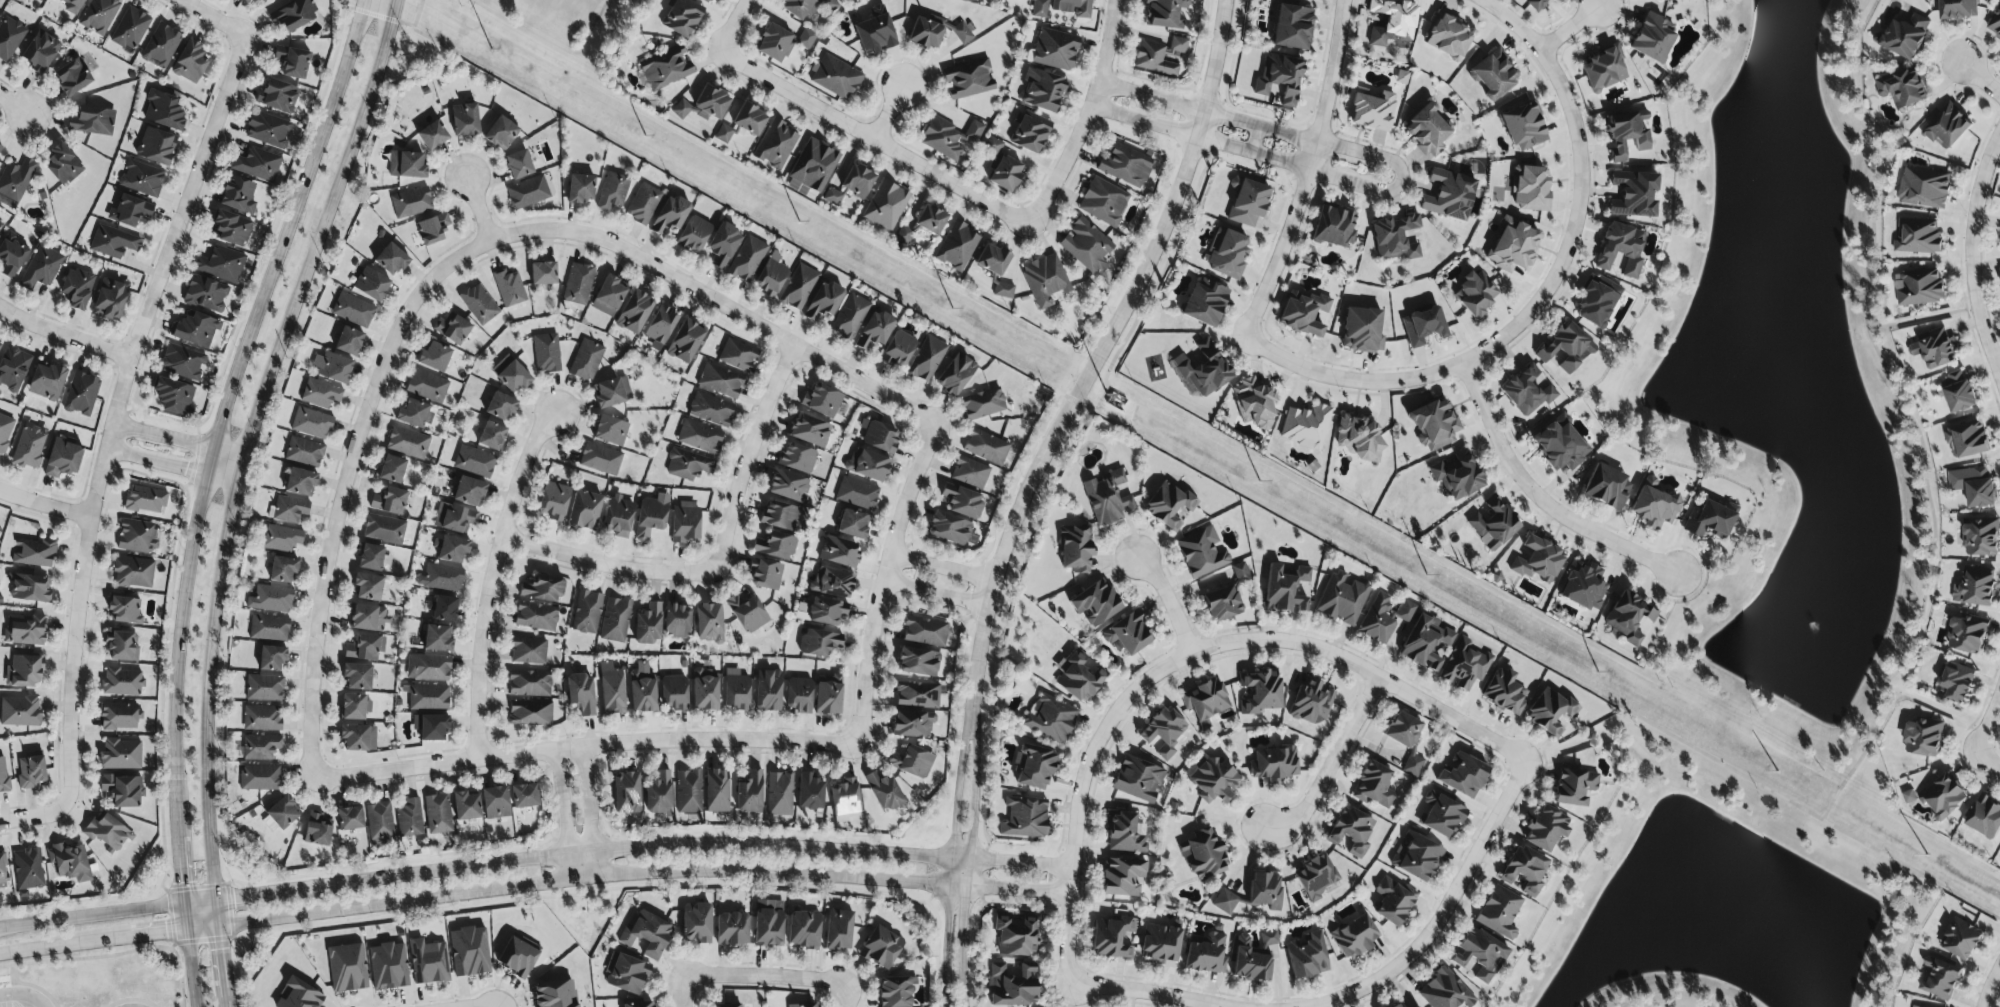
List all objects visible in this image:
building: (41, 0)
building: (246, 1)
building: (263, 1)
building: (707, 1)
building: (1535, 4)
building: (72, 6)
building: (796, 7)
building: (1039, 8)
building: (1073, 8)
building: (1958, 10)
building: (1164, 13)
building: (293, 14)
building: (99, 15)
road: (218, 17)
building: (681, 17)
building: (1392, 22)
building: (1995, 25)
building: (1292, 27)
road: (1572, 27)
building: (131, 28)
road: (728, 28)
building: (875, 32)
building: (925, 33)
building: (962, 33)
building: (1446, 36)
building: (1653, 37)
building: (1904, 37)
building: (9, 38)
building: (805, 39)
building: (774, 43)
building: (161, 47)
building: (1055, 49)
building: (39, 51)
building: (1160, 56)
building: (190, 62)
building: (292, 62)
power tower: (518, 64)
building: (665, 68)
building: (1603, 70)
building: (1493, 74)
road: (1978, 76)
building: (72, 77)
building: (835, 77)
building: (1401, 77)
building: (1280, 78)
building: (968, 79)
road: (1329, 84)
building: (1902, 89)
building: (1042, 90)
building: (278, 96)
road: (11, 105)
building: (704, 105)
road: (1178, 105)
road: (881, 110)
building: (163, 111)
building: (1372, 111)
building: (749, 119)
building: (464, 120)
building: (92, 121)
road: (1083, 124)
building: (1523, 127)
road: (1171, 128)
building: (1948, 128)
building: (1426, 129)
building: (267, 130)
building: (974, 131)
building: (500, 133)
building: (1030, 133)
building: (1628, 133)
building: (723, 134)
building: (432, 135)
road: (862, 138)
building: (944, 139)
road: (1255, 139)
building: (776, 145)
building: (156, 146)
building: (0, 147)
building: (518, 164)
building: (62, 165)
building: (257, 165)
building: (407, 165)
building: (1124, 166)
building: (812, 168)
building: (142, 178)
building: (15, 179)
road: (1401, 180)
building: (851, 185)
road: (1581, 185)
building: (580, 188)
building: (1529, 188)
building: (1924, 189)
building: (613, 190)
building: (528, 192)
building: (1633, 194)
building: (238, 195)
building: (1448, 195)
building: (1103, 202)
building: (1247, 202)
building: (411, 203)
building: (643, 204)
building: (885, 205)
road: (476, 208)
building: (130, 211)
building: (669, 215)
building: (930, 220)
building: (1, 225)
road: (287, 225)
building: (1334, 226)
building: (231, 228)
building: (432, 228)
power tower: (815, 230)
building: (693, 234)
building: (902, 234)
building: (1395, 237)
building: (1917, 237)
building: (113, 242)
building: (722, 245)
building: (957, 246)
building: (1085, 246)
building: (1512, 246)
building: (1621, 248)
road: (1277, 252)
building: (1226, 253)
building: (11, 255)
building: (390, 259)
building: (747, 259)
building: (992, 259)
road: (647, 261)
building: (221, 264)
building: (1617, 264)
building: (41, 268)
road: (1975, 268)
building: (543, 273)
building: (770, 276)
building: (1046, 280)
building: (371, 284)
building: (578, 284)
building: (798, 287)
building: (76, 288)
building: (509, 288)
building: (1919, 288)
building: (1004, 290)
building: (1475, 293)
building: (206, 294)
building: (608, 296)
building: (110, 299)
building: (824, 301)
building: (1596, 301)
building: (1205, 302)
building: (479, 304)
building: (353, 309)
building: (634, 312)
building: (1303, 313)
building: (849, 317)
building: (1423, 326)
building: (660, 327)
building: (452, 328)
building: (196, 329)
building: (875, 330)
building: (1362, 330)
road: (60, 335)
building: (349, 341)
building: (685, 341)
building: (0, 344)
building: (1567, 348)
building: (898, 349)
building: (1934, 349)
building: (546, 353)
building: (737, 356)
building: (434, 357)
building: (926, 359)
road: (1101, 359)
building: (586, 360)
building: (182, 362)
building: (333, 367)
building: (13, 369)
building: (1205, 370)
building: (511, 374)
building: (955, 375)
road: (1353, 380)
building: (46, 381)
building: (720, 381)
building: (427, 386)
building: (1526, 392)
building: (608, 393)
building: (1958, 393)
building: (81, 394)
building: (320, 394)
power tower: (1109, 395)
building: (173, 396)
building: (822, 400)
building: (983, 404)
building: (1254, 404)
building: (500, 407)
building: (710, 409)
road: (1906, 411)
road: (110, 412)
building: (415, 413)
building: (311, 423)
building: (1434, 425)
building: (1305, 426)
building: (5, 431)
building: (610, 431)
building: (810, 431)
road: (159, 436)
building: (491, 436)
building: (699, 437)
building: (880, 437)
building: (1359, 438)
building: (1967, 440)
building: (408, 442)
building: (30, 446)
building: (1559, 446)
building: (985, 447)
road: (1169, 450)
building: (304, 451)
road: (745, 457)
building: (63, 458)
road: (225, 458)
building: (797, 458)
building: (600, 459)
road: (206, 461)
building: (474, 461)
road: (152, 462)
building: (687, 465)
building: (867, 465)
building: (391, 469)
road: (221, 470)
building: (970, 472)
building: (1458, 476)
building: (300, 482)
road: (346, 486)
building: (789, 486)
building: (1607, 487)
building: (1974, 487)
road: (235, 492)
building: (469, 492)
building: (857, 493)
road: (1544, 499)
building: (145, 500)
building: (389, 501)
building: (553, 501)
building: (962, 501)
road: (910, 504)
building: (1653, 504)
road: (43, 505)
building: (1169, 506)
building: (289, 509)
building: (584, 510)
building: (779, 515)
building: (617, 516)
building: (454, 518)
building: (650, 518)
building: (1709, 521)
building: (685, 522)
building: (853, 524)
building: (1493, 524)
building: (384, 529)
building: (949, 529)
building: (138, 537)
building: (281, 538)
building: (1981, 538)
building: (775, 546)
building: (1075, 548)
building: (453, 549)
building: (839, 552)
building: (1201, 552)
building: (33, 553)
building: (373, 558)
building: (1538, 560)
road: (608, 564)
road: (946, 564)
power tower: (1408, 565)
building: (283, 569)
building: (133, 572)
building: (1240, 573)
building: (764, 574)
building: (441, 578)
road: (495, 578)
building: (832, 582)
building: (1583, 586)
building: (368, 587)
building: (30, 588)
building: (1976, 588)
building: (542, 589)
building: (1287, 589)
road: (936, 590)
building: (271, 599)
building: (1341, 599)
building: (1095, 603)
road: (1171, 603)
building: (1222, 604)
building: (124, 609)
building: (442, 609)
building: (826, 611)
building: (587, 612)
building: (747, 613)
building: (535, 616)
building: (1384, 617)
building: (1628, 617)
building: (367, 618)
building: (615, 620)
building: (677, 621)
fountain: (1816, 622)
building: (709, 623)
building: (648, 624)
building: (1640, 626)
building: (269, 628)
building: (25, 629)
building: (925, 630)
building: (1128, 635)
building: (1968, 635)
building: (438, 638)
road: (1242, 640)
building: (819, 642)
building: (1425, 643)
building: (120, 646)
building: (365, 648)
building: (528, 651)
road: (177, 654)
building: (271, 658)
building: (918, 662)
building: (1465, 665)
building: (428, 668)
building: (24, 671)
building: (357, 676)
building: (1079, 676)
building: (122, 681)
building: (529, 683)
building: (1955, 683)
building: (264, 688)
building: (611, 689)
building: (642, 689)
building: (736, 690)
building: (768, 690)
building: (1260, 692)
building: (1504, 692)
building: (581, 693)
building: (673, 693)
building: (917, 694)
building: (798, 695)
building: (828, 695)
building: (428, 698)
building: (1205, 701)
building: (1310, 702)
building: (354, 706)
building: (19, 711)
building: (1551, 712)
building: (529, 713)
building: (120, 716)
building: (262, 718)
building: (1050, 718)
building: (913, 724)
road: (1987, 726)
building: (431, 727)
power tower: (1703, 730)
building: (1163, 732)
building: (356, 737)
building: (1924, 738)
building: (1406, 739)
road: (588, 746)
building: (259, 747)
building: (120, 755)
road: (1987, 761)
building: (911, 762)
building: (1274, 764)
road: (1331, 765)
building: (1035, 767)
building: (30, 771)
building: (3, 775)
building: (1463, 775)
building: (260, 778)
building: (1138, 779)
building: (1213, 779)
building: (1374, 786)
building: (1574, 786)
building: (122, 790)
building: (716, 790)
building: (883, 791)
building: (688, 792)
building: (809, 792)
building: (626, 793)
building: (749, 793)
building: (779, 794)
building: (658, 795)
building: (524, 796)
building: (1909, 797)
building: (1943, 798)
building: (844, 800)
building: (495, 802)
building: (465, 806)
building: (283, 812)
road: (589, 812)
building: (437, 814)
road: (565, 814)
building: (1441, 814)
building: (1984, 817)
road: (32, 818)
building: (349, 818)
building: (1024, 818)
building: (408, 819)
building: (380, 824)
building: (1546, 828)
building: (317, 829)
building: (1350, 830)
building: (106, 831)
road: (575, 851)
building: (1203, 854)
building: (1416, 856)
road: (951, 860)
road: (969, 861)
building: (69, 862)
road: (1021, 864)
building: (28, 869)
building: (1524, 869)
road: (181, 870)
building: (2, 873)
road: (575, 876)
building: (1122, 877)
building: (1315, 877)
road: (1019, 889)
building: (1265, 890)
power tower: (1999, 897)
building: (1392, 901)
road: (1445, 910)
building: (1499, 911)
road: (184, 915)
road: (91, 916)
building: (696, 922)
building: (768, 923)
road: (1068, 926)
building: (731, 929)
building: (803, 929)
building: (838, 930)
building: (646, 935)
building: (1015, 936)
building: (1354, 936)
building: (1113, 938)
road: (92, 940)
road: (178, 940)
building: (1268, 940)
building: (1961, 940)
road: (1907, 941)
building: (1161, 944)
building: (881, 947)
building: (470, 951)
building: (1206, 953)
road: (114, 954)
building: (518, 956)
building: (1307, 956)
building: (1478, 956)
building: (429, 962)
building: (1249, 962)
building: (389, 966)
road: (190, 967)
building: (347, 968)
building: (626, 974)
road: (762, 974)
building: (1941, 980)
road: (14, 981)
building: (1012, 985)
road: (1990, 988)
building: (895, 991)
building: (1444, 991)
road: (681, 993)
road: (1153, 993)
building: (555, 994)
building: (298, 995)
road: (846, 995)
road: (29, 1001)
building: (637, 1004)
road: (486, 1005)
road: (501, 1005)
building: (729, 1005)
building: (803, 1005)
building: (1400, 1006)
building: (1416, 1006)
building: (1914, 1006)

